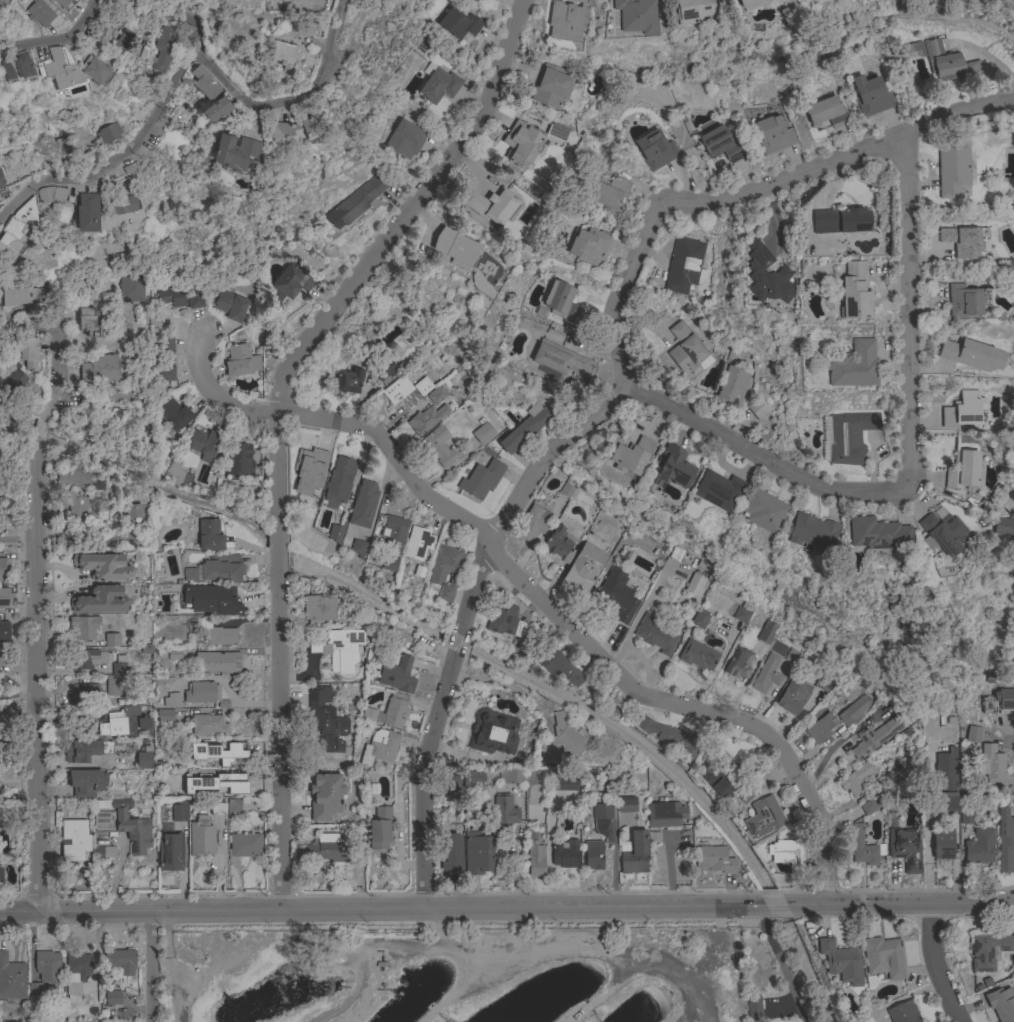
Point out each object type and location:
building: (801, 0)
building: (119, 1)
building: (302, 3)
building: (64, 4)
building: (749, 5)
building: (692, 11)
building: (0, 12)
building: (39, 13)
building: (636, 16)
building: (567, 20)
road: (187, 22)
building: (56, 23)
building: (458, 24)
road: (331, 33)
road: (353, 36)
building: (119, 41)
road: (58, 42)
building: (162, 47)
building: (917, 48)
building: (283, 55)
building: (942, 61)
building: (972, 67)
building: (16, 68)
building: (71, 70)
building: (201, 82)
building: (438, 84)
building: (551, 87)
road: (165, 94)
building: (870, 96)
building: (215, 110)
building: (825, 113)
building: (293, 132)
building: (556, 133)
building: (106, 135)
building: (772, 135)
building: (404, 139)
building: (521, 144)
building: (719, 144)
building: (63, 148)
building: (654, 150)
building: (233, 152)
building: (952, 169)
building: (1, 186)
building: (605, 191)
building: (50, 194)
building: (355, 202)
building: (121, 204)
building: (491, 206)
building: (83, 215)
building: (842, 220)
building: (17, 223)
building: (962, 241)
building: (454, 246)
building: (587, 247)
road: (634, 257)
road: (371, 258)
building: (684, 266)
building: (766, 276)
building: (292, 281)
building: (130, 289)
building: (854, 292)
building: (21, 296)
building: (180, 298)
building: (965, 301)
building: (561, 302)
building: (230, 305)
building: (88, 322)
road: (25, 326)
building: (686, 349)
building: (23, 350)
building: (972, 355)
building: (558, 359)
building: (165, 360)
building: (240, 361)
building: (853, 365)
building: (100, 369)
building: (384, 370)
road: (56, 374)
building: (11, 376)
building: (348, 381)
building: (422, 386)
building: (732, 386)
building: (118, 392)
building: (400, 392)
building: (757, 409)
building: (964, 411)
building: (429, 412)
building: (173, 414)
road: (39, 425)
building: (523, 429)
building: (143, 430)
building: (483, 434)
building: (849, 436)
building: (203, 442)
building: (440, 446)
building: (630, 456)
building: (238, 461)
building: (1, 465)
road: (907, 466)
building: (672, 468)
building: (962, 470)
building: (174, 472)
building: (73, 475)
building: (481, 480)
building: (338, 482)
building: (717, 490)
building: (566, 491)
building: (304, 492)
building: (141, 494)
building: (76, 504)
building: (363, 505)
building: (762, 510)
building: (132, 511)
building: (535, 520)
building: (1003, 527)
building: (394, 529)
building: (811, 532)
building: (876, 533)
building: (941, 533)
building: (335, 534)
building: (209, 536)
building: (417, 543)
building: (559, 543)
road: (274, 544)
building: (358, 548)
building: (676, 554)
building: (389, 563)
building: (103, 567)
building: (2, 568)
building: (583, 568)
building: (221, 569)
building: (445, 570)
building: (189, 574)
building: (695, 584)
road: (534, 594)
building: (615, 596)
building: (4, 597)
building: (99, 600)
building: (210, 602)
building: (318, 609)
building: (741, 615)
building: (700, 618)
building: (504, 620)
building: (84, 627)
building: (3, 630)
building: (216, 633)
building: (766, 633)
building: (655, 634)
building: (399, 639)
building: (111, 640)
road: (455, 643)
building: (339, 649)
building: (174, 654)
building: (697, 655)
building: (1, 657)
building: (792, 657)
building: (88, 659)
building: (209, 661)
building: (738, 663)
building: (120, 666)
building: (560, 666)
road: (34, 673)
building: (766, 674)
building: (397, 675)
building: (992, 679)
building: (822, 683)
building: (113, 686)
road: (502, 686)
building: (81, 692)
building: (203, 694)
building: (793, 695)
building: (171, 699)
building: (1005, 701)
building: (854, 710)
building: (388, 712)
building: (164, 716)
building: (325, 718)
building: (122, 721)
building: (208, 726)
building: (820, 726)
building: (143, 727)
building: (492, 733)
building: (973, 734)
road: (1009, 734)
road: (274, 735)
building: (669, 736)
building: (875, 736)
building: (560, 740)
building: (379, 748)
road: (831, 748)
building: (85, 750)
building: (223, 756)
building: (143, 758)
building: (991, 762)
building: (510, 776)
building: (472, 778)
road: (423, 779)
building: (718, 779)
building: (947, 779)
building: (853, 781)
building: (886, 781)
building: (85, 782)
building: (450, 783)
building: (563, 783)
building: (224, 786)
building: (744, 794)
building: (4, 795)
building: (325, 796)
building: (626, 805)
building: (867, 807)
building: (217, 808)
building: (233, 808)
building: (504, 810)
building: (178, 811)
building: (602, 811)
building: (664, 814)
building: (965, 815)
building: (0, 816)
building: (763, 817)
building: (122, 825)
building: (379, 829)
building: (201, 837)
building: (75, 841)
building: (1005, 841)
building: (245, 845)
building: (943, 846)
building: (979, 847)
building: (864, 848)
building: (324, 849)
building: (905, 849)
building: (169, 851)
building: (450, 852)
building: (108, 853)
building: (477, 853)
building: (634, 853)
building: (786, 853)
building: (564, 854)
building: (593, 855)
building: (534, 859)
building: (714, 860)
building: (0, 874)
road: (758, 905)
road: (774, 905)
road: (899, 905)
road: (375, 910)
building: (988, 951)
building: (883, 956)
building: (120, 961)
building: (841, 961)
road: (777, 963)
road: (931, 965)
building: (47, 967)
road: (159, 968)
building: (76, 974)
park: (461, 975)
building: (11, 979)
building: (34, 989)
building: (112, 998)
building: (1002, 1005)
building: (753, 1009)
building: (903, 1012)

